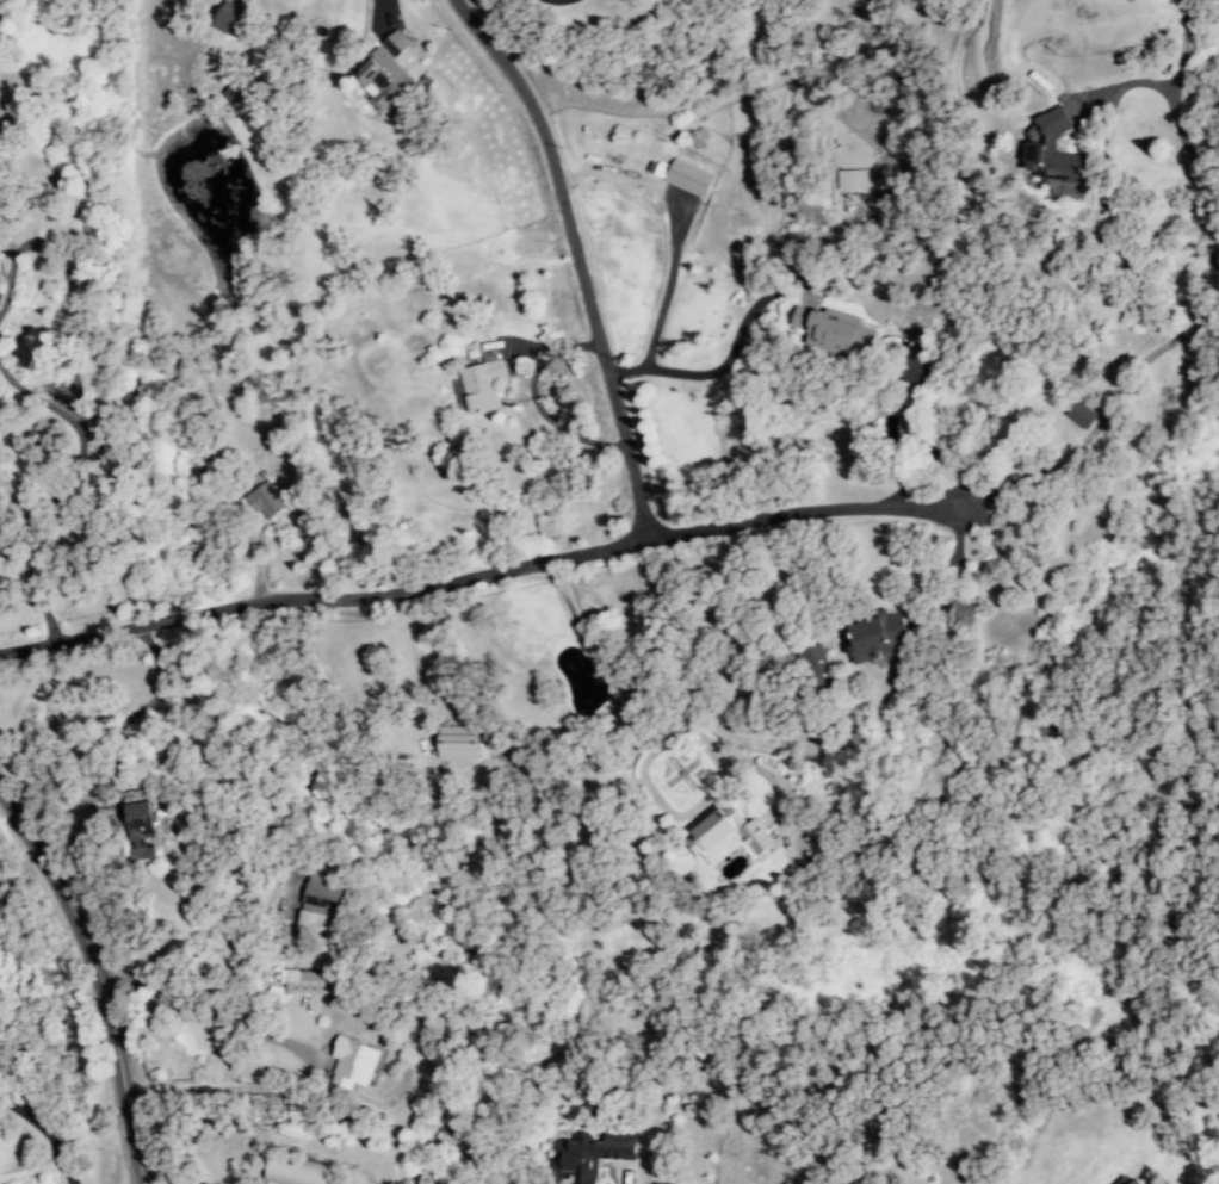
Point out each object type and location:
building: (227, 18)
building: (395, 44)
building: (382, 79)
building: (1051, 153)
building: (688, 178)
building: (852, 179)
road: (677, 221)
road: (575, 256)
road: (64, 290)
road: (1198, 318)
building: (833, 330)
road: (717, 366)
building: (481, 385)
road: (533, 399)
road: (36, 403)
building: (1081, 415)
road: (930, 445)
building: (265, 501)
road: (25, 531)
road: (479, 575)
road: (911, 597)
building: (875, 637)
building: (816, 669)
building: (457, 746)
road: (494, 801)
building: (141, 830)
building: (726, 836)
building: (320, 901)
road: (330, 916)
road: (100, 978)
building: (308, 981)
road: (185, 993)
road: (217, 1037)
building: (353, 1062)
road: (43, 1134)
building: (589, 1155)
building: (1126, 1180)

